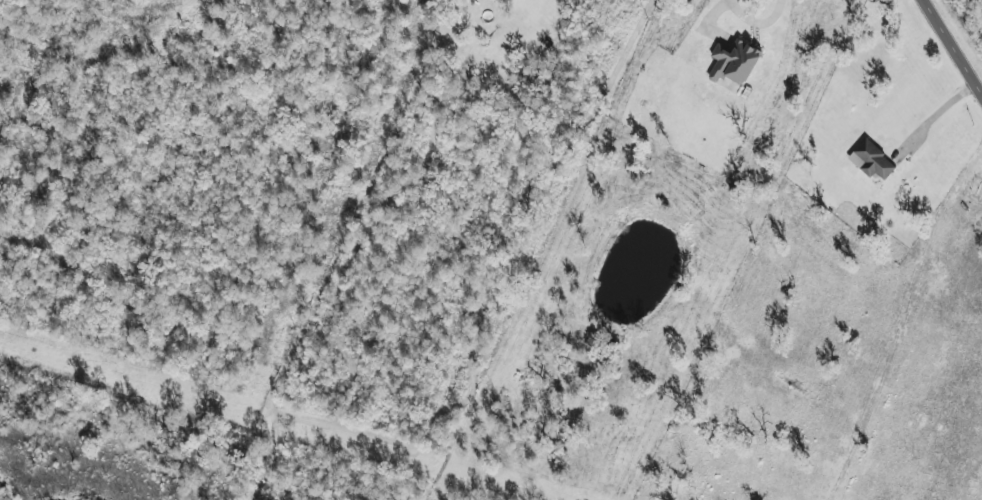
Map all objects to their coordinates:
road: (713, 9)
road: (951, 48)
building: (734, 62)
road: (932, 113)
building: (872, 160)

